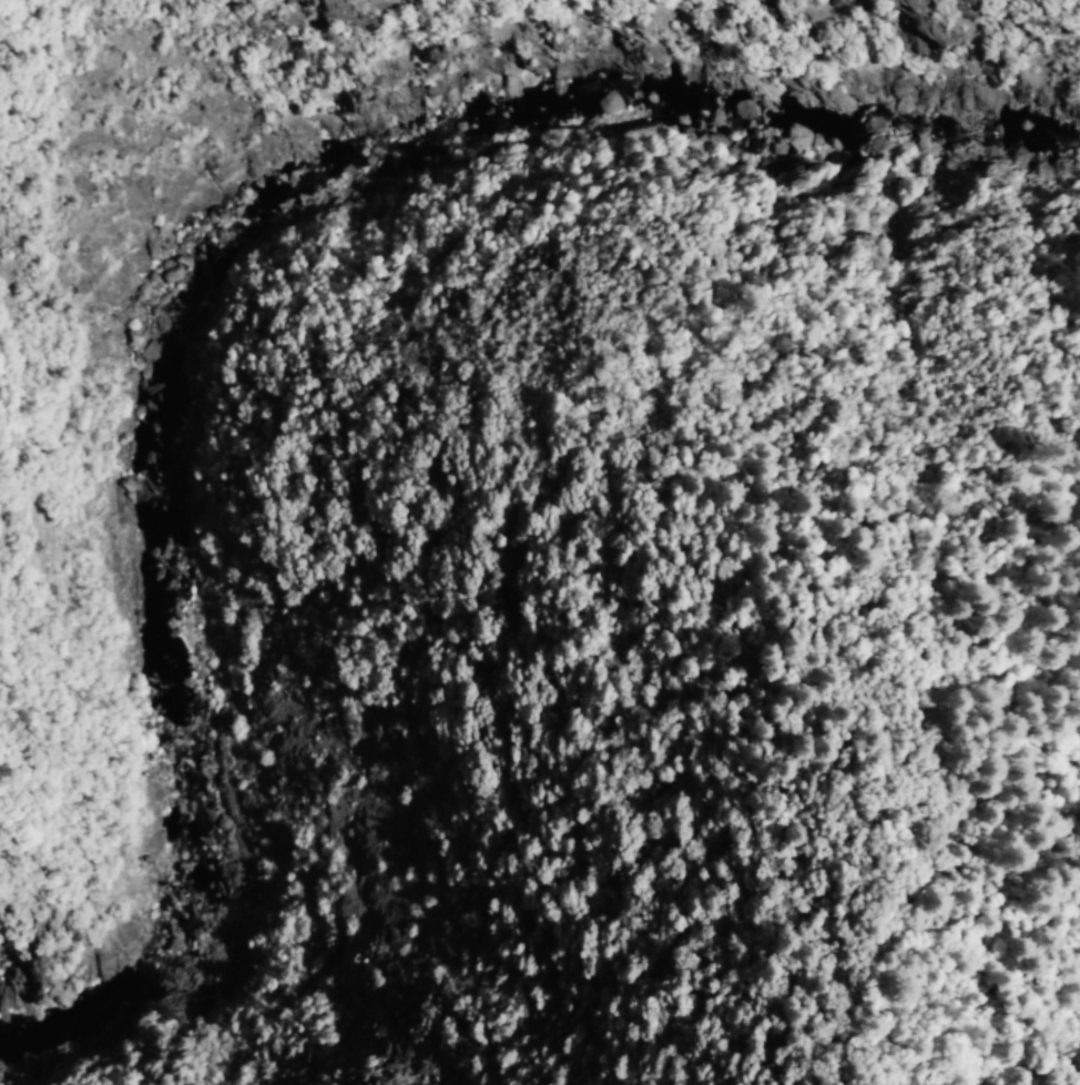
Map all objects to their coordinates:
river: (206, 247)

